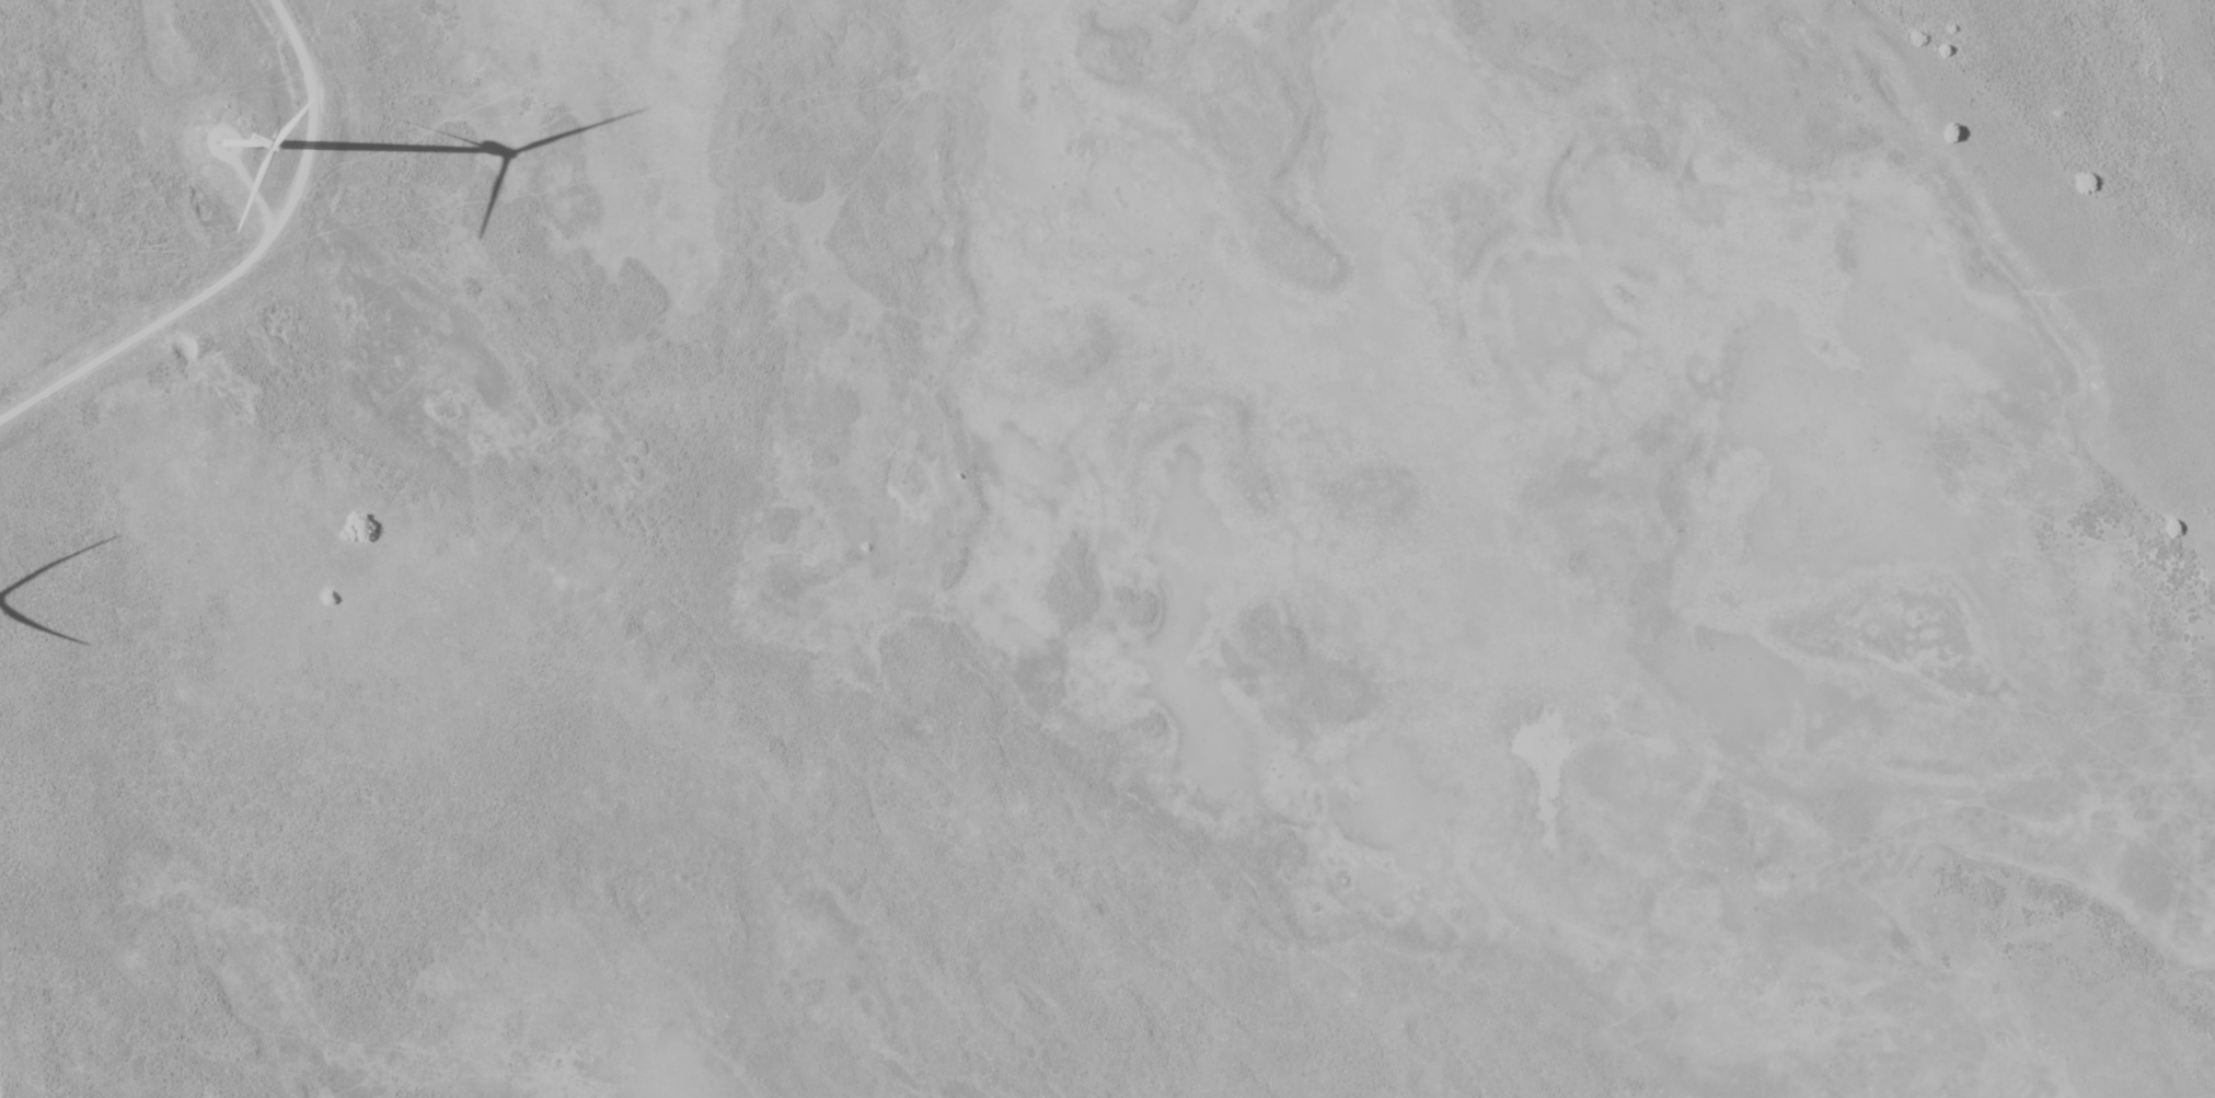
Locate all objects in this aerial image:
wind turbine: (234, 148)

